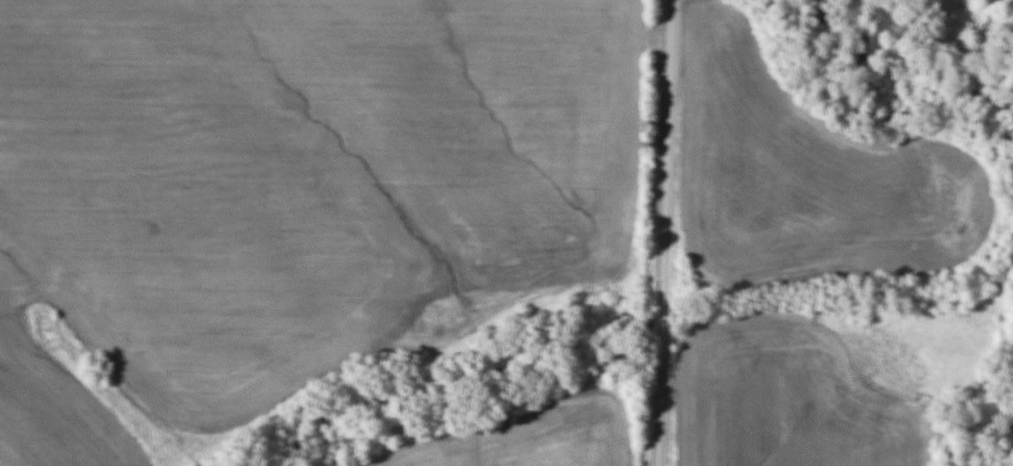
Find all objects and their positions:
road: (664, 232)

